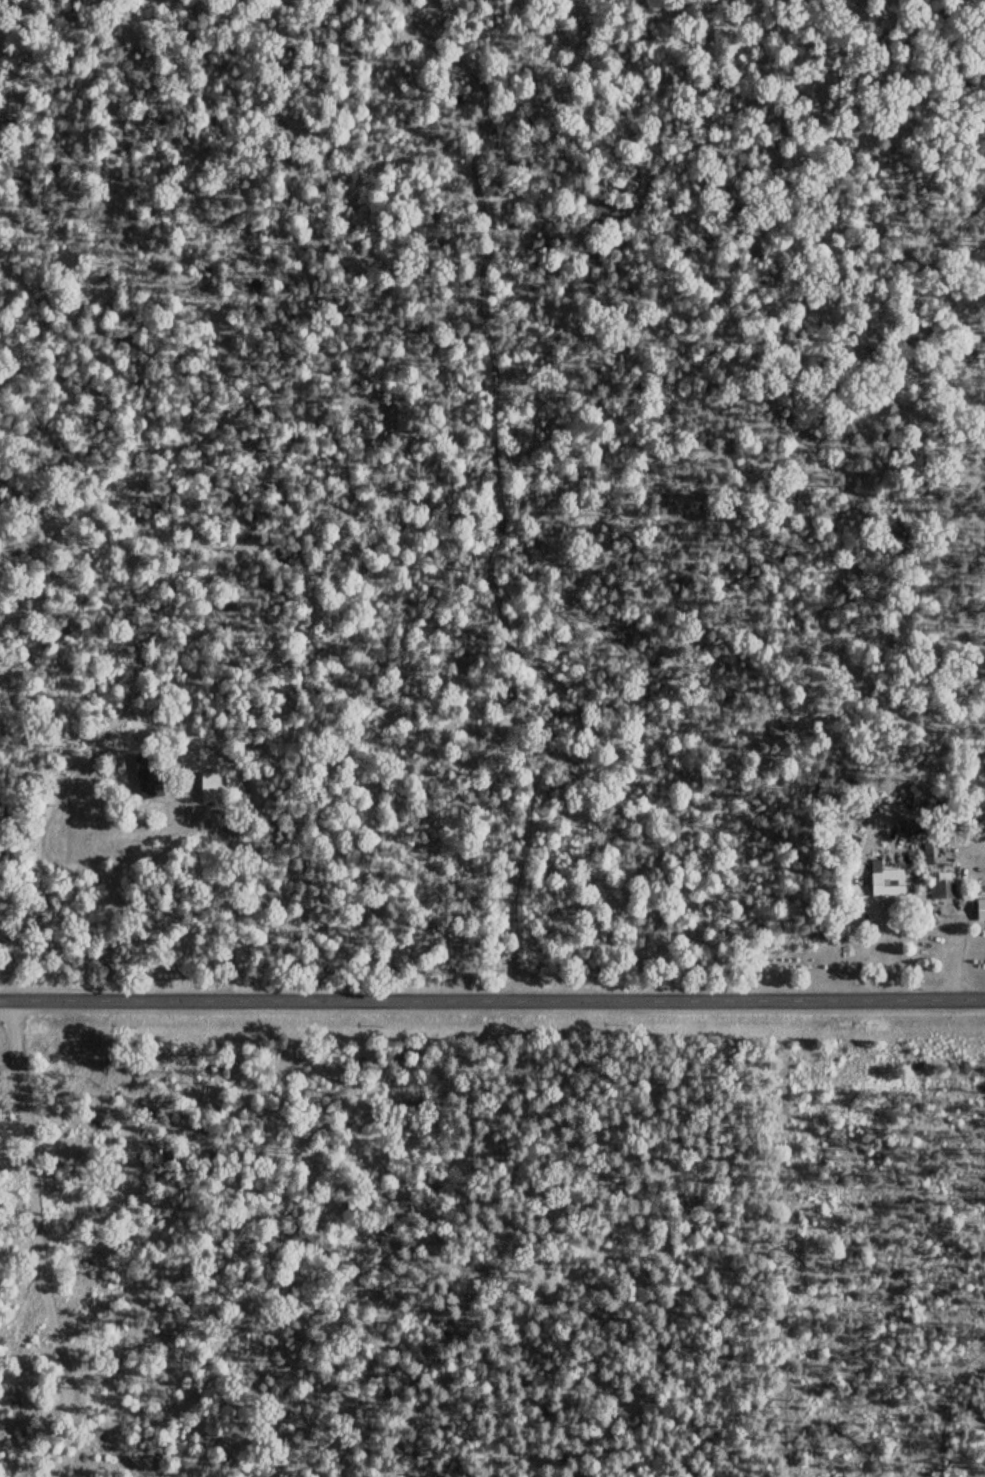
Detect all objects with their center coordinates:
building: (146, 740)
building: (150, 776)
building: (211, 788)
building: (889, 884)
building: (943, 888)
building: (981, 909)
road: (492, 993)

